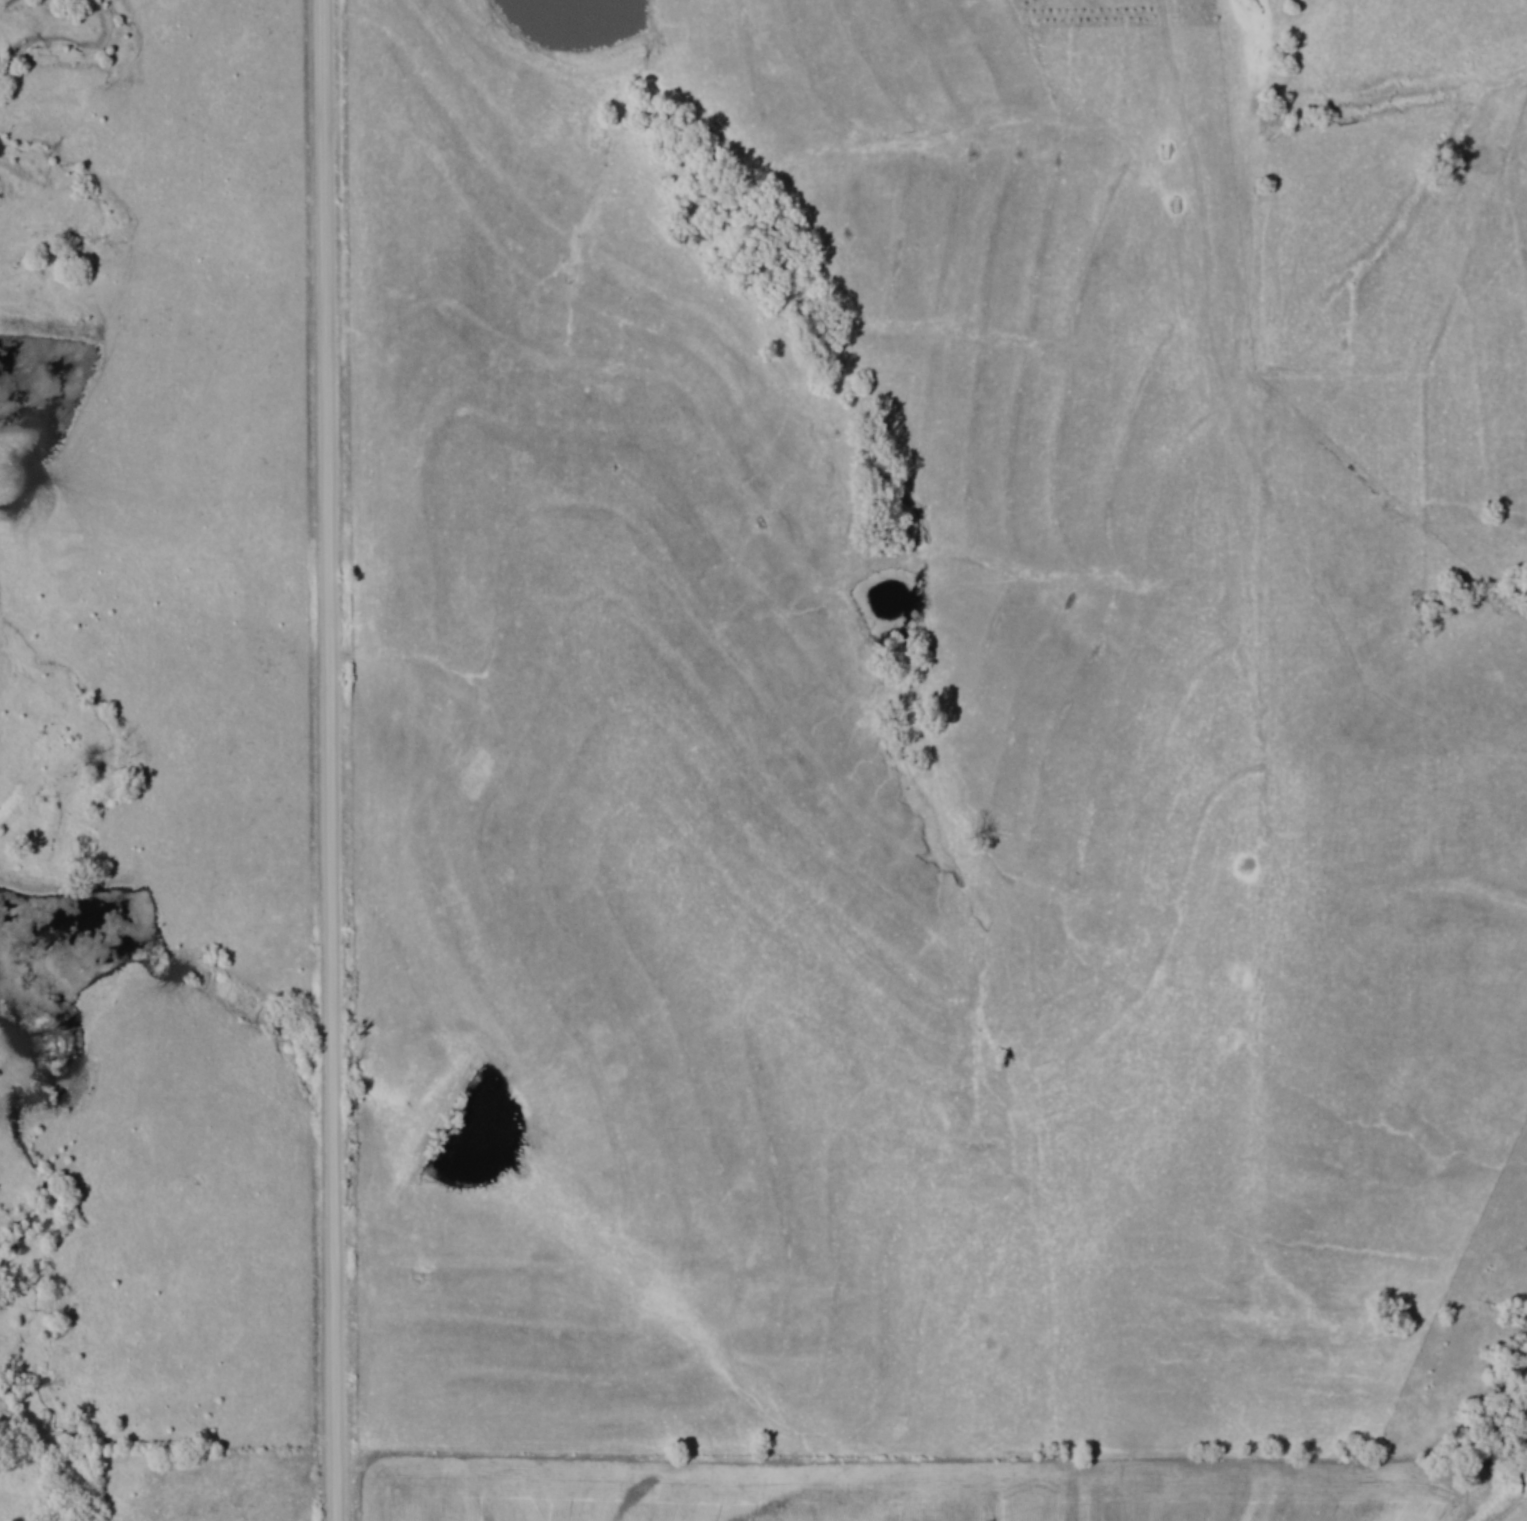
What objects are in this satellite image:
road: (331, 760)

